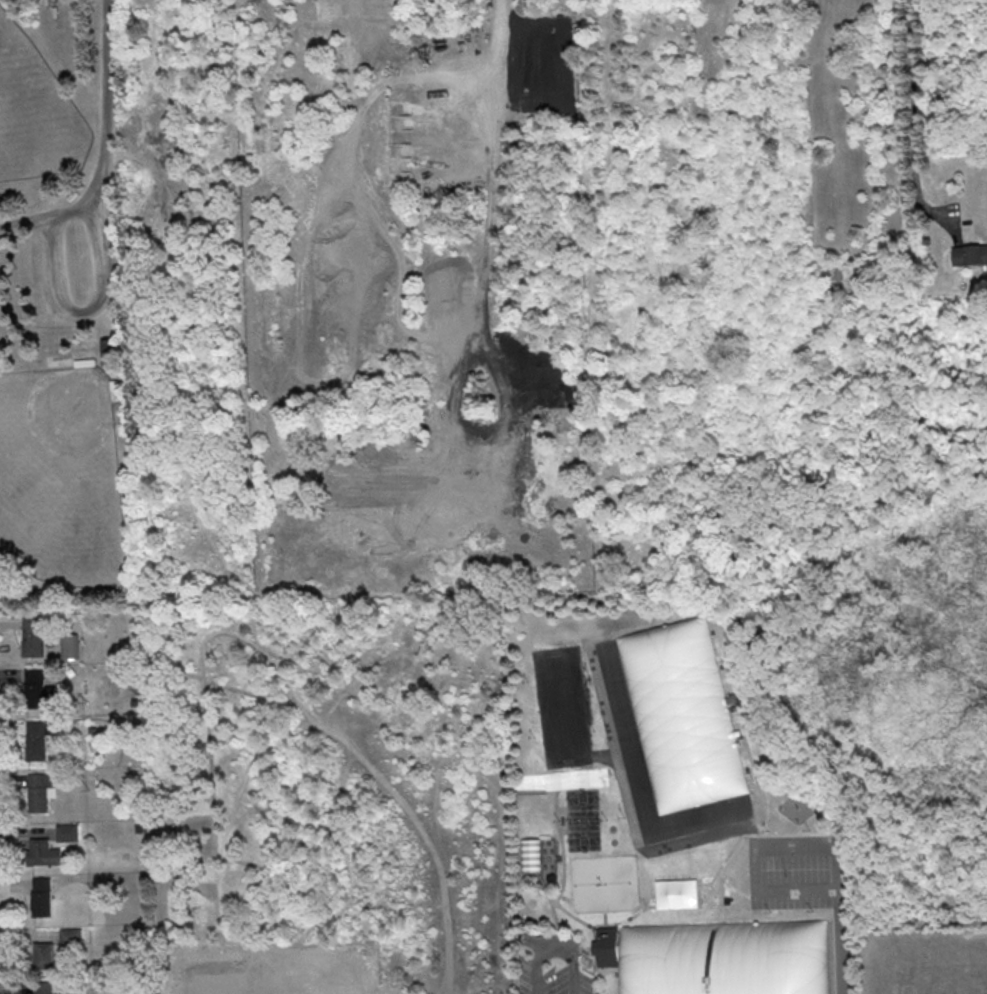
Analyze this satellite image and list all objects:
road: (499, 26)
road: (911, 113)
park: (37, 117)
road: (108, 147)
building: (969, 254)
parking lot: (78, 265)
park: (121, 308)
road: (94, 309)
building: (109, 352)
park: (57, 482)
building: (32, 636)
building: (68, 647)
building: (37, 689)
park: (563, 705)
building: (679, 715)
park: (677, 726)
building: (35, 740)
road: (760, 800)
park: (579, 819)
building: (67, 831)
building: (43, 850)
road: (764, 870)
park: (601, 881)
building: (40, 896)
road: (549, 900)
road: (547, 902)
road: (617, 922)
road: (838, 923)
building: (51, 944)
road: (553, 946)
road: (592, 959)
park: (723, 959)
building: (46, 987)

